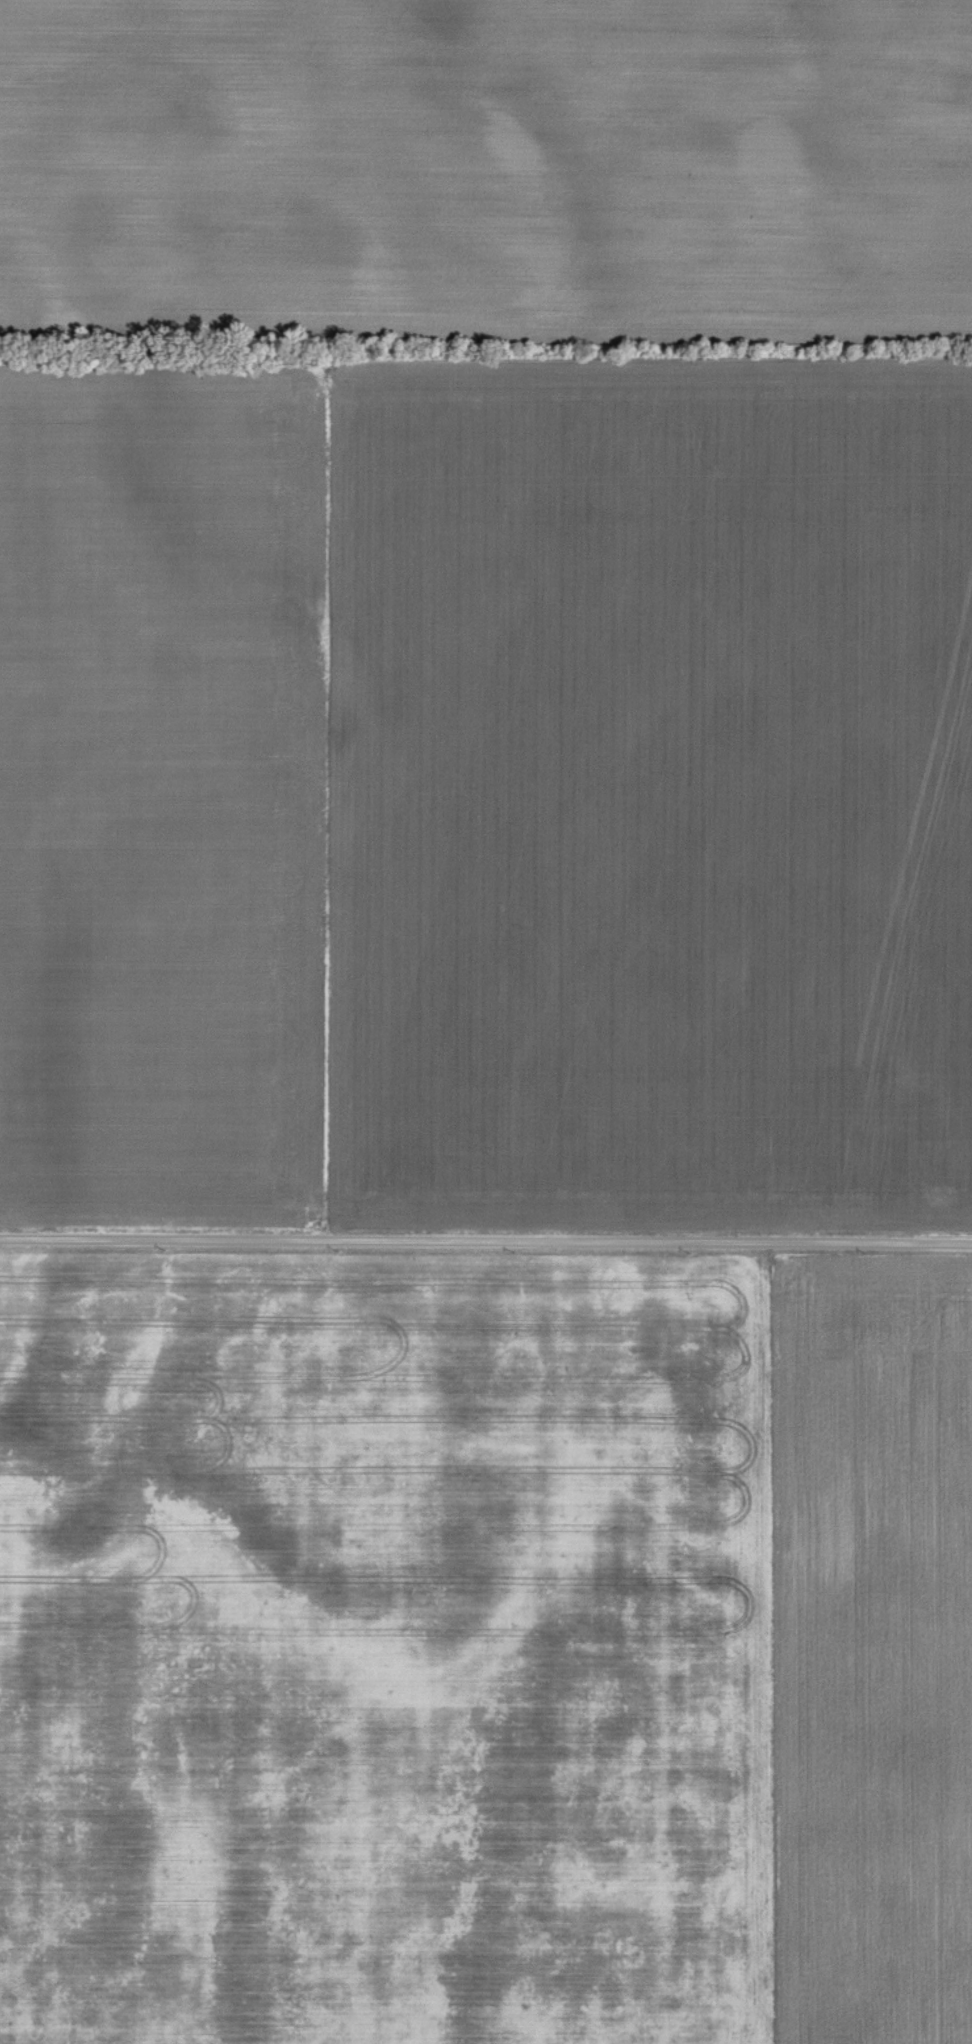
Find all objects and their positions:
road: (486, 1239)

